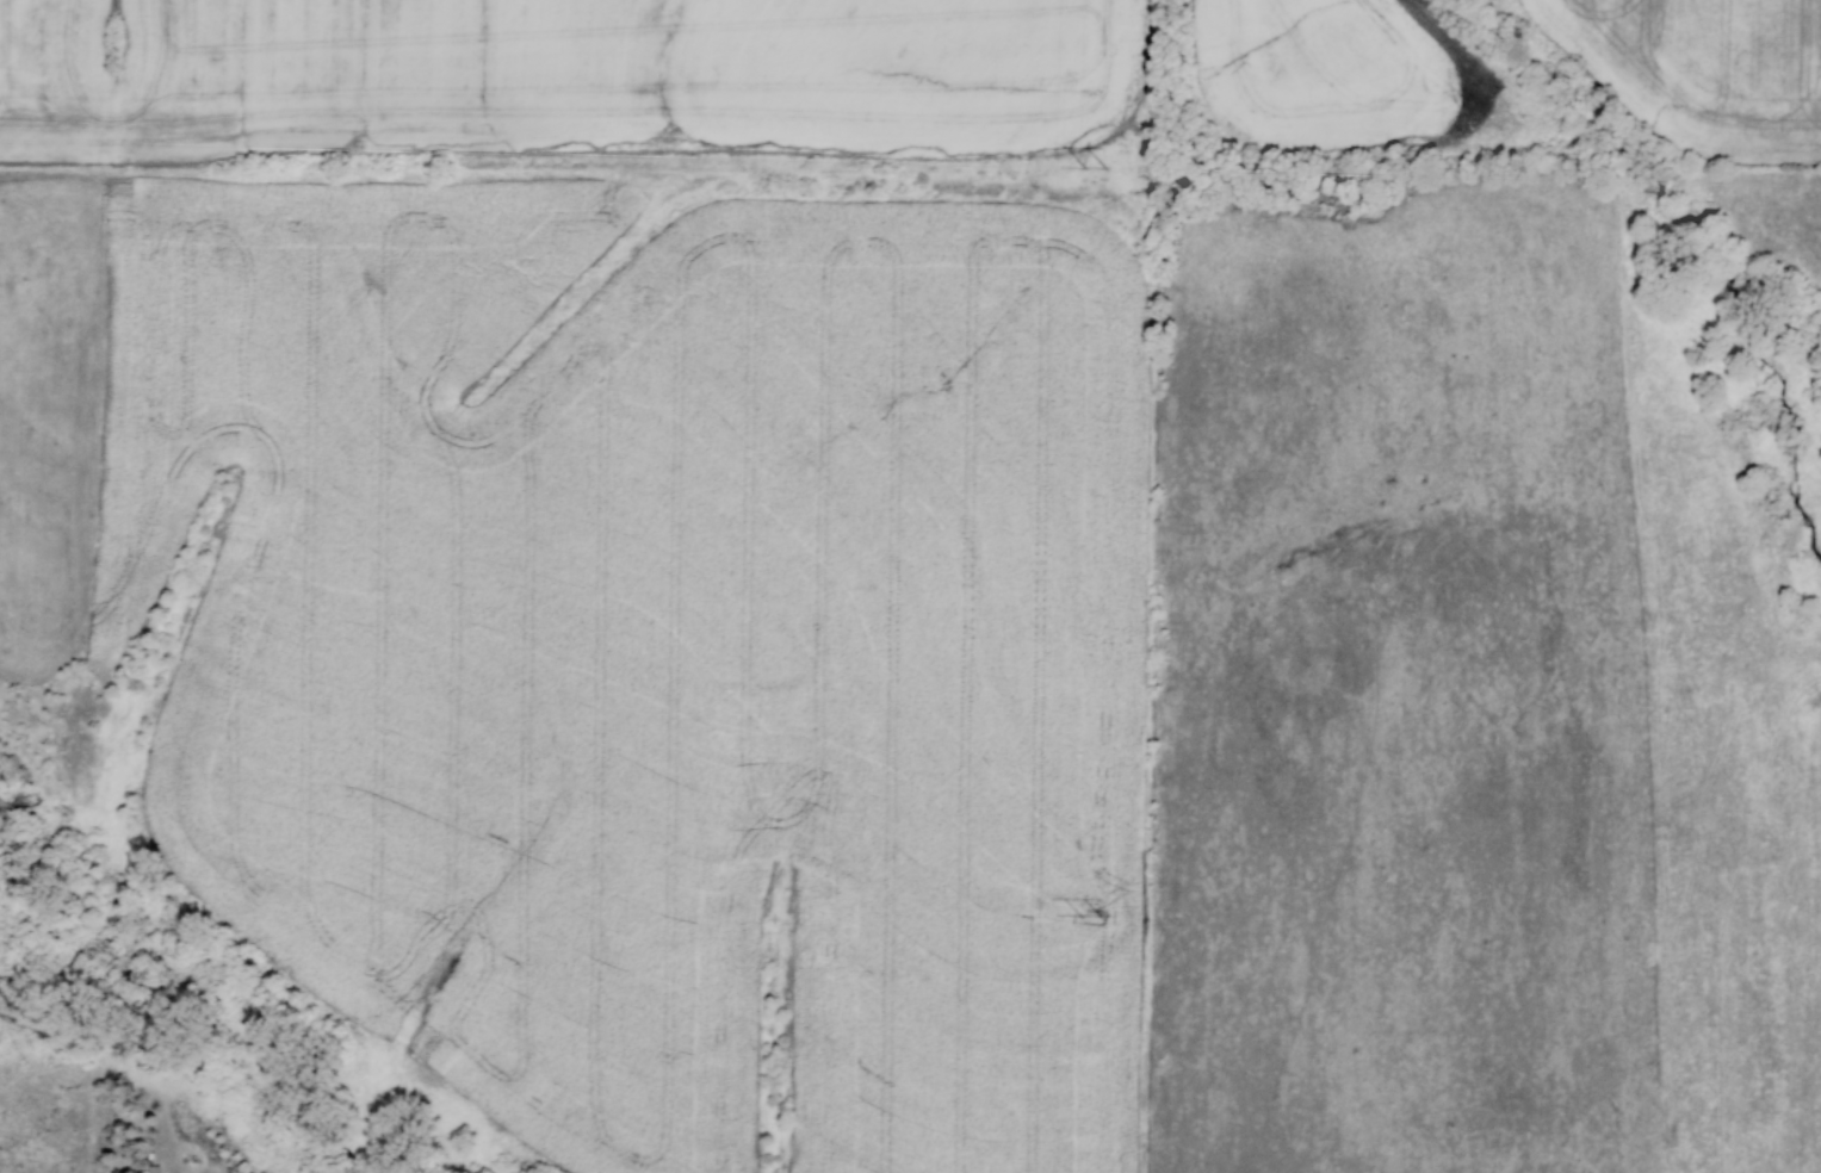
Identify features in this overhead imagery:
power tower: (1098, 172)
power tower: (1097, 920)
building: (156, 1168)

